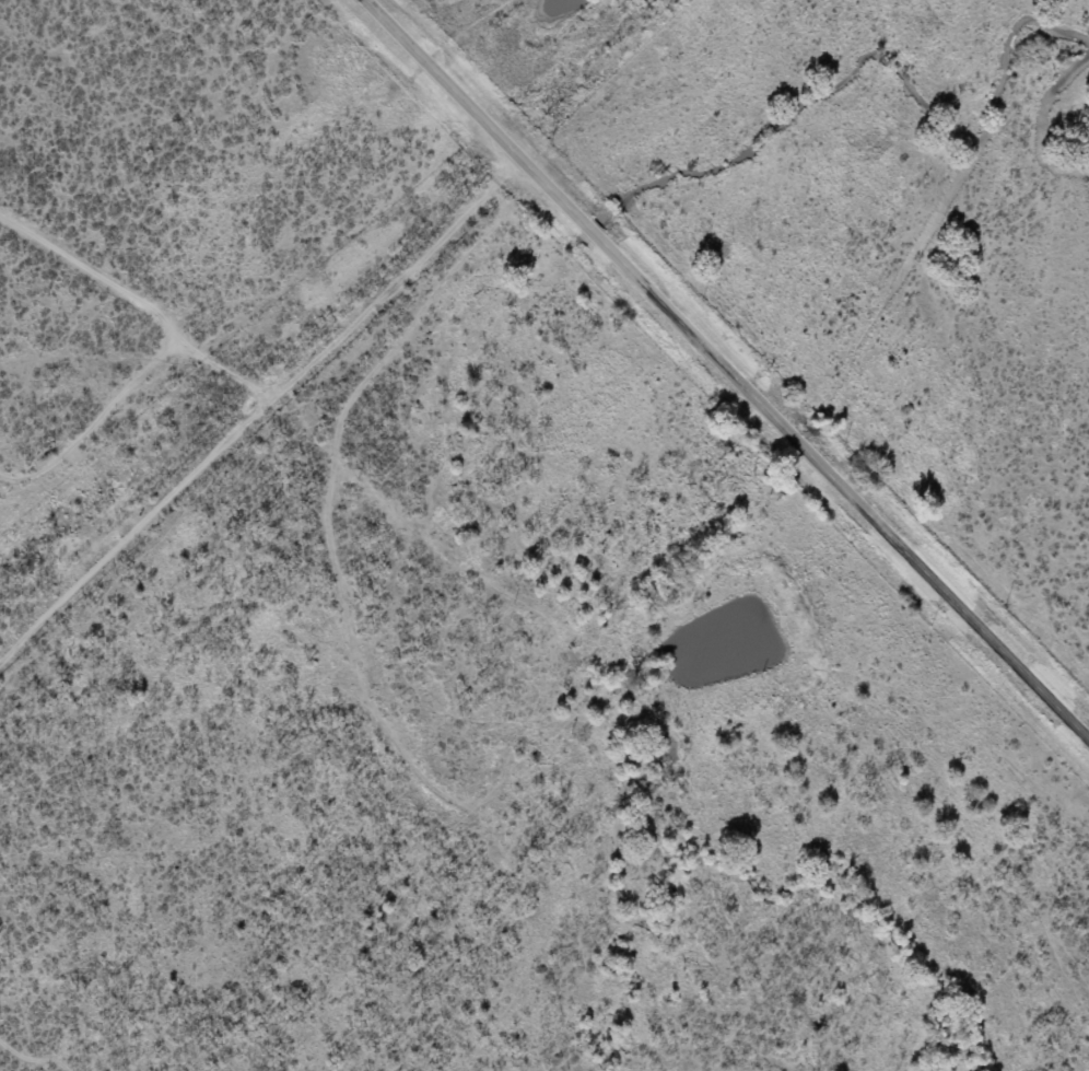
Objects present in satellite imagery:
road: (725, 371)

